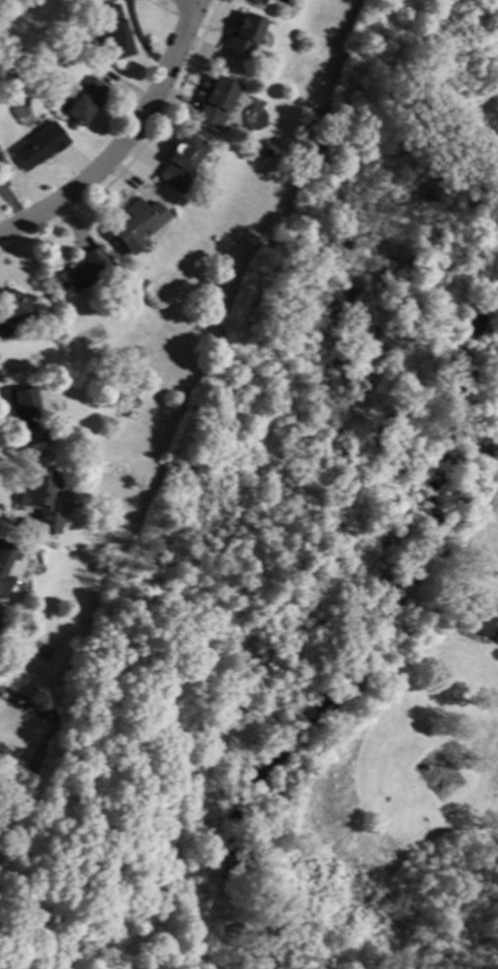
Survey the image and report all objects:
building: (257, 1)
road: (188, 2)
building: (114, 32)
building: (243, 35)
building: (84, 100)
building: (214, 102)
road: (123, 138)
building: (38, 146)
building: (319, 152)
building: (180, 163)
building: (129, 226)
building: (81, 271)
building: (12, 310)
building: (126, 398)
building: (23, 410)
building: (37, 489)
building: (8, 565)
park: (308, 580)
building: (476, 617)
river: (340, 631)

